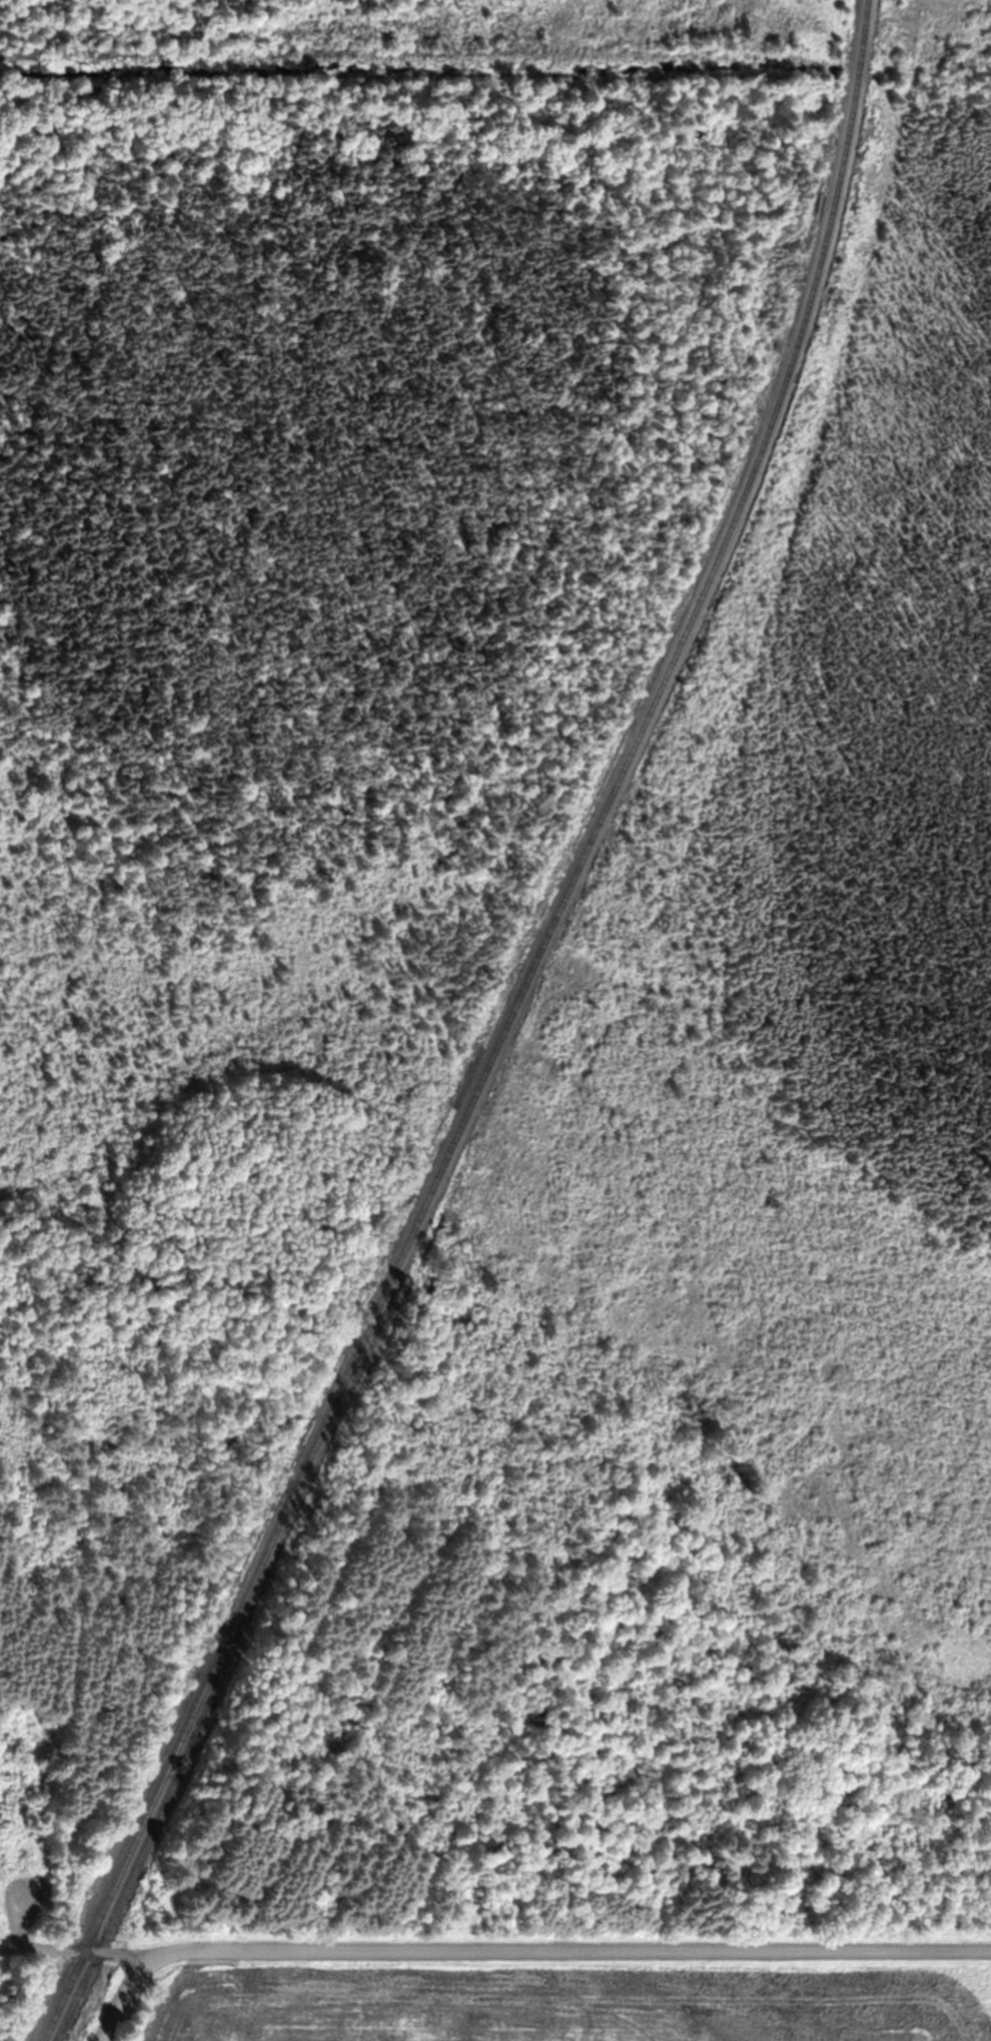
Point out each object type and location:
railway: (501, 1035)
road: (522, 1948)
road: (61, 1951)

